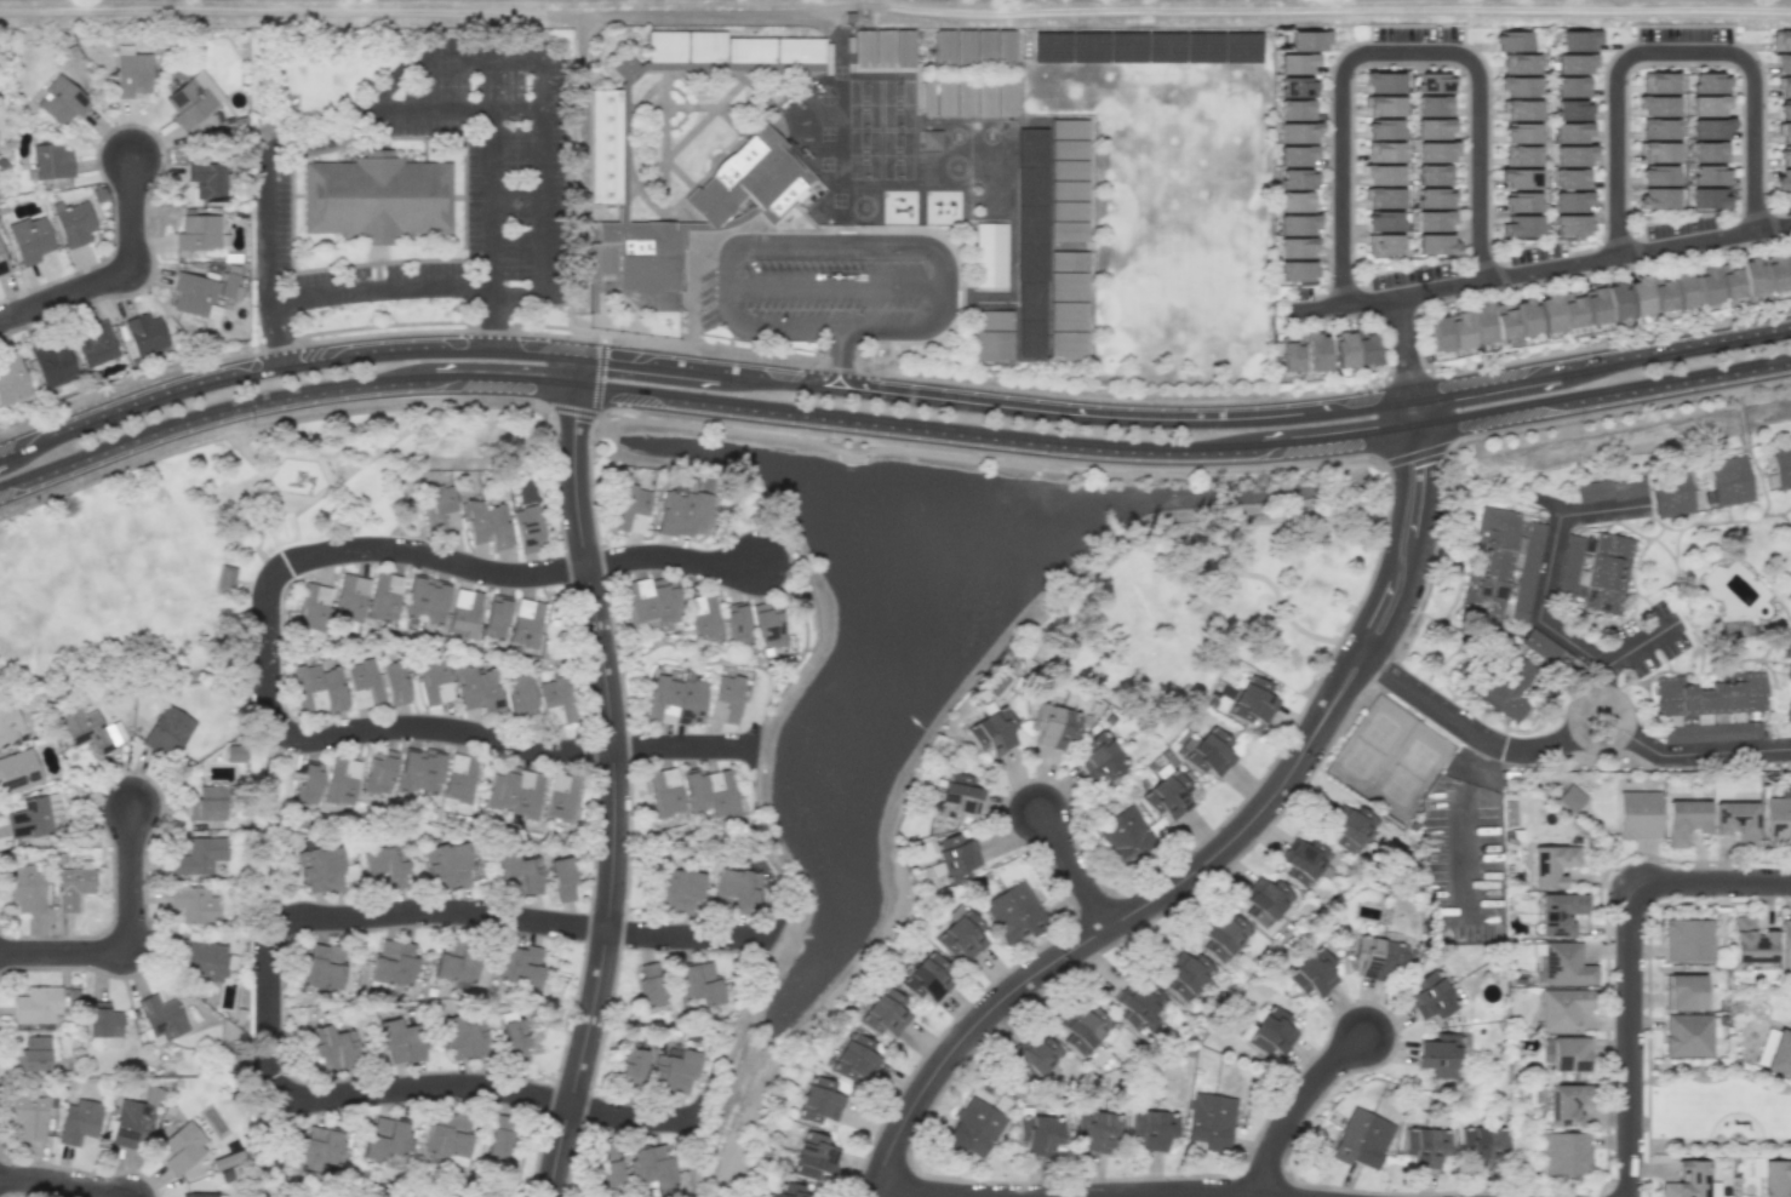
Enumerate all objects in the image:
road: (1309, 11)
road: (297, 13)
parking lot: (1417, 33)
parking lot: (1683, 34)
building: (1579, 40)
building: (1780, 40)
building: (1306, 41)
building: (1511, 41)
road: (582, 44)
building: (670, 47)
building: (708, 47)
building: (737, 47)
building: (757, 47)
building: (779, 47)
building: (800, 48)
road: (1396, 51)
road: (1671, 51)
building: (951, 56)
building: (870, 57)
building: (972, 57)
building: (991, 57)
building: (1012, 57)
building: (891, 58)
building: (910, 58)
road: (497, 61)
building: (1295, 63)
building: (1520, 63)
building: (1573, 64)
road: (1677, 64)
building: (1783, 64)
building: (628, 65)
building: (131, 71)
building: (1383, 82)
building: (1434, 82)
building: (1658, 82)
building: (1709, 82)
building: (1297, 86)
building: (1784, 86)
building: (1518, 87)
building: (1570, 87)
building: (193, 99)
building: (61, 101)
road: (433, 105)
building: (1384, 105)
building: (1434, 105)
building: (1656, 105)
building: (1706, 105)
building: (951, 107)
building: (972, 107)
building: (991, 108)
building: (1013, 108)
building: (1297, 109)
road: (539, 110)
building: (1521, 110)
building: (1570, 110)
building: (1784, 110)
road: (347, 125)
building: (1432, 128)
building: (1658, 128)
building: (1710, 128)
building: (1383, 130)
building: (1298, 132)
building: (1568, 132)
building: (1521, 133)
building: (1784, 133)
building: (612, 148)
building: (1383, 151)
building: (1435, 151)
building: (1659, 151)
building: (1709, 151)
building: (1521, 155)
building: (1572, 156)
building: (1784, 156)
building: (50, 161)
building: (1381, 174)
building: (1434, 174)
building: (1658, 176)
building: (1709, 176)
building: (1298, 178)
building: (1518, 178)
building: (1570, 178)
building: (1783, 178)
building: (206, 179)
building: (759, 183)
building: (376, 197)
building: (1383, 197)
building: (1434, 197)
building: (1656, 197)
building: (1707, 199)
building: (1297, 201)
building: (1568, 201)
building: (1520, 202)
parking lot: (515, 205)
parking lot: (1786, 206)
building: (906, 213)
building: (1383, 220)
building: (1432, 220)
building: (73, 223)
building: (1297, 225)
building: (1521, 225)
parking lot: (1680, 225)
building: (198, 233)
building: (29, 239)
building: (1435, 244)
building: (1383, 245)
road: (823, 246)
building: (1297, 247)
road: (1636, 248)
parking lot: (1535, 252)
building: (989, 254)
building: (648, 257)
building: (2, 264)
road: (1541, 268)
building: (1297, 271)
building: (1767, 273)
parking lot: (1411, 274)
road: (115, 275)
building: (1729, 280)
building: (228, 285)
building: (1706, 285)
building: (1660, 293)
parking lot: (812, 294)
building: (194, 296)
road: (304, 298)
building: (1604, 303)
building: (1570, 309)
building: (1547, 313)
road: (492, 316)
building: (1526, 316)
building: (1504, 321)
building: (1481, 323)
building: (671, 327)
building: (1459, 330)
building: (144, 333)
road: (580, 333)
road: (1417, 333)
building: (1437, 333)
road: (276, 334)
building: (95, 344)
road: (1402, 345)
building: (1354, 349)
building: (1316, 351)
building: (1289, 354)
road: (841, 359)
road: (654, 362)
building: (52, 363)
road: (282, 363)
road: (578, 368)
road: (494, 373)
building: (11, 382)
street lamp: (1372, 385)
road: (645, 391)
road: (200, 412)
road: (1261, 414)
road: (1254, 446)
building: (1781, 463)
building: (1730, 477)
building: (1671, 488)
building: (1609, 489)
building: (440, 508)
building: (630, 509)
building: (680, 514)
building: (486, 525)
building: (527, 528)
park: (216, 539)
building: (1501, 563)
road: (469, 567)
building: (1593, 572)
building: (225, 574)
building: (383, 596)
building: (349, 598)
building: (425, 600)
building: (650, 601)
park: (1211, 602)
road: (1540, 605)
building: (311, 606)
building: (463, 613)
building: (494, 615)
building: (705, 619)
building: (736, 622)
building: (526, 624)
building: (767, 624)
road: (434, 642)
building: (1786, 646)
road: (757, 668)
building: (1787, 670)
building: (396, 676)
building: (433, 676)
road: (1602, 680)
building: (361, 682)
building: (1504, 685)
building: (305, 686)
building: (333, 687)
building: (467, 688)
building: (490, 688)
building: (662, 698)
building: (727, 698)
building: (522, 699)
building: (692, 700)
building: (1712, 700)
building: (1253, 701)
building: (557, 703)
building: (1787, 711)
road: (1623, 717)
building: (10, 724)
building: (1053, 724)
road: (1463, 727)
building: (90, 729)
building: (167, 732)
building: (991, 732)
road: (475, 737)
park: (1369, 744)
road: (1701, 751)
building: (234, 752)
building: (1208, 752)
building: (1098, 757)
building: (407, 766)
building: (18, 771)
park: (1408, 771)
building: (378, 772)
building: (430, 772)
building: (460, 777)
building: (342, 780)
building: (309, 783)
building: (500, 787)
building: (698, 789)
road: (612, 791)
building: (664, 791)
building: (528, 792)
building: (721, 792)
building: (1167, 795)
building: (561, 797)
building: (957, 797)
building: (1570, 798)
building: (206, 803)
building: (1637, 812)
building: (1778, 815)
building: (34, 817)
road: (399, 817)
building: (1682, 818)
building: (1735, 819)
road: (1461, 829)
building: (1350, 830)
building: (1123, 835)
road: (686, 846)
road: (762, 846)
road: (1223, 849)
building: (198, 855)
building: (954, 858)
parking lot: (1461, 860)
street lamp: (1665, 860)
building: (1304, 863)
building: (1552, 863)
building: (446, 866)
building: (383, 867)
building: (320, 869)
road: (1072, 870)
road: (130, 876)
building: (515, 876)
building: (561, 877)
building: (24, 887)
building: (71, 887)
building: (676, 890)
street lamp: (1778, 898)
building: (1264, 901)
building: (193, 904)
building: (1561, 910)
building: (1013, 912)
road: (469, 913)
building: (961, 933)
building: (1224, 937)
building: (1687, 938)
building: (1750, 940)
building: (1785, 940)
road: (62, 953)
building: (1377, 957)
building: (457, 960)
building: (206, 961)
building: (393, 962)
building: (1567, 962)
road: (1626, 963)
building: (519, 966)
building: (319, 967)
building: (1311, 974)
building: (1184, 975)
building: (926, 976)
building: (696, 983)
building: (648, 984)
building: (1682, 989)
building: (1431, 996)
building: (36, 1006)
building: (1138, 1006)
building: (1564, 1006)
building: (885, 1013)
building: (161, 1018)
building: (102, 1020)
building: (1082, 1029)
building: (1268, 1032)
building: (1687, 1033)
building: (514, 1036)
building: (462, 1038)
building: (399, 1042)
building: (332, 1048)
building: (1779, 1052)
building: (1573, 1053)
building: (32, 1054)
building: (1440, 1055)
building: (854, 1058)
building: (1032, 1059)
building: (630, 1065)
building: (673, 1070)
road: (271, 1071)
street lamp: (1646, 1081)
road: (490, 1088)
building: (818, 1101)
street lamp: (935, 1102)
building: (1566, 1104)
road: (1294, 1107)
park: (1713, 1109)
building: (28, 1116)
building: (131, 1121)
building: (1209, 1121)
building: (78, 1122)
building: (973, 1128)
building: (1151, 1128)
building: (1095, 1130)
building: (1038, 1134)
building: (447, 1136)
building: (498, 1138)
building: (1363, 1138)
building: (385, 1139)
building: (1483, 1142)
building: (1425, 1145)
building: (183, 1147)
building: (320, 1147)
building: (1567, 1152)
building: (813, 1156)
building: (651, 1167)
building: (608, 1172)
building: (1774, 1178)
building: (1687, 1179)
road: (53, 1181)
building: (791, 1190)
road: (911, 1192)
building: (201, 1195)

